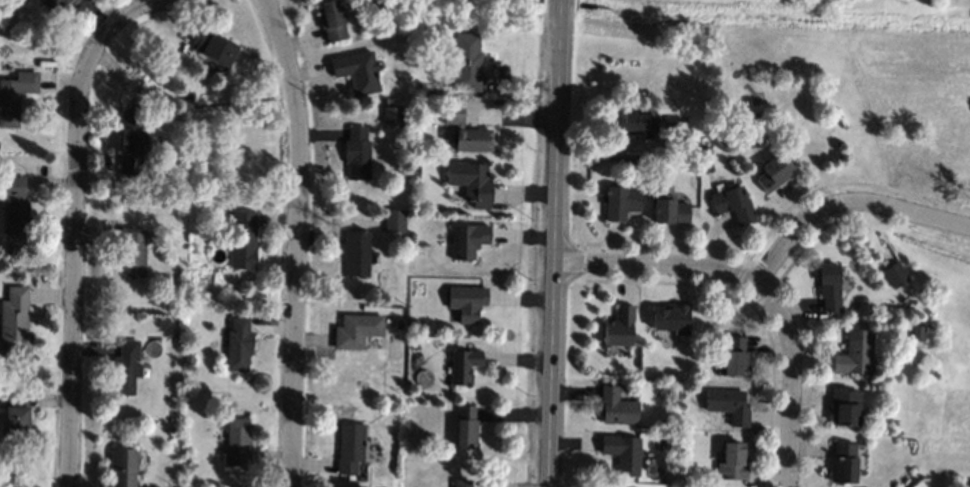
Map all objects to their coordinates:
building: (58, 4)
road: (137, 8)
building: (331, 20)
building: (214, 46)
building: (467, 63)
building: (357, 71)
building: (15, 96)
building: (189, 96)
building: (393, 116)
park: (846, 122)
building: (675, 123)
building: (639, 124)
building: (466, 131)
building: (683, 140)
building: (132, 142)
building: (358, 153)
building: (708, 167)
building: (416, 172)
building: (776, 172)
building: (471, 183)
road: (846, 199)
building: (621, 202)
building: (733, 204)
building: (15, 206)
building: (169, 207)
building: (669, 210)
building: (395, 220)
building: (398, 239)
building: (243, 240)
road: (294, 240)
building: (467, 240)
road: (556, 243)
road: (74, 245)
building: (133, 251)
building: (357, 252)
road: (657, 264)
building: (896, 274)
building: (830, 287)
building: (466, 302)
building: (672, 319)
building: (15, 322)
building: (619, 327)
building: (356, 330)
building: (918, 333)
building: (239, 345)
building: (855, 354)
building: (189, 358)
building: (736, 358)
building: (463, 365)
building: (126, 368)
building: (10, 380)
road: (790, 380)
building: (729, 405)
building: (845, 406)
building: (617, 407)
building: (15, 420)
building: (172, 421)
building: (466, 426)
building: (171, 432)
building: (238, 443)
building: (350, 448)
building: (623, 453)
building: (733, 462)
building: (843, 463)
building: (187, 465)
building: (123, 467)
building: (462, 483)

